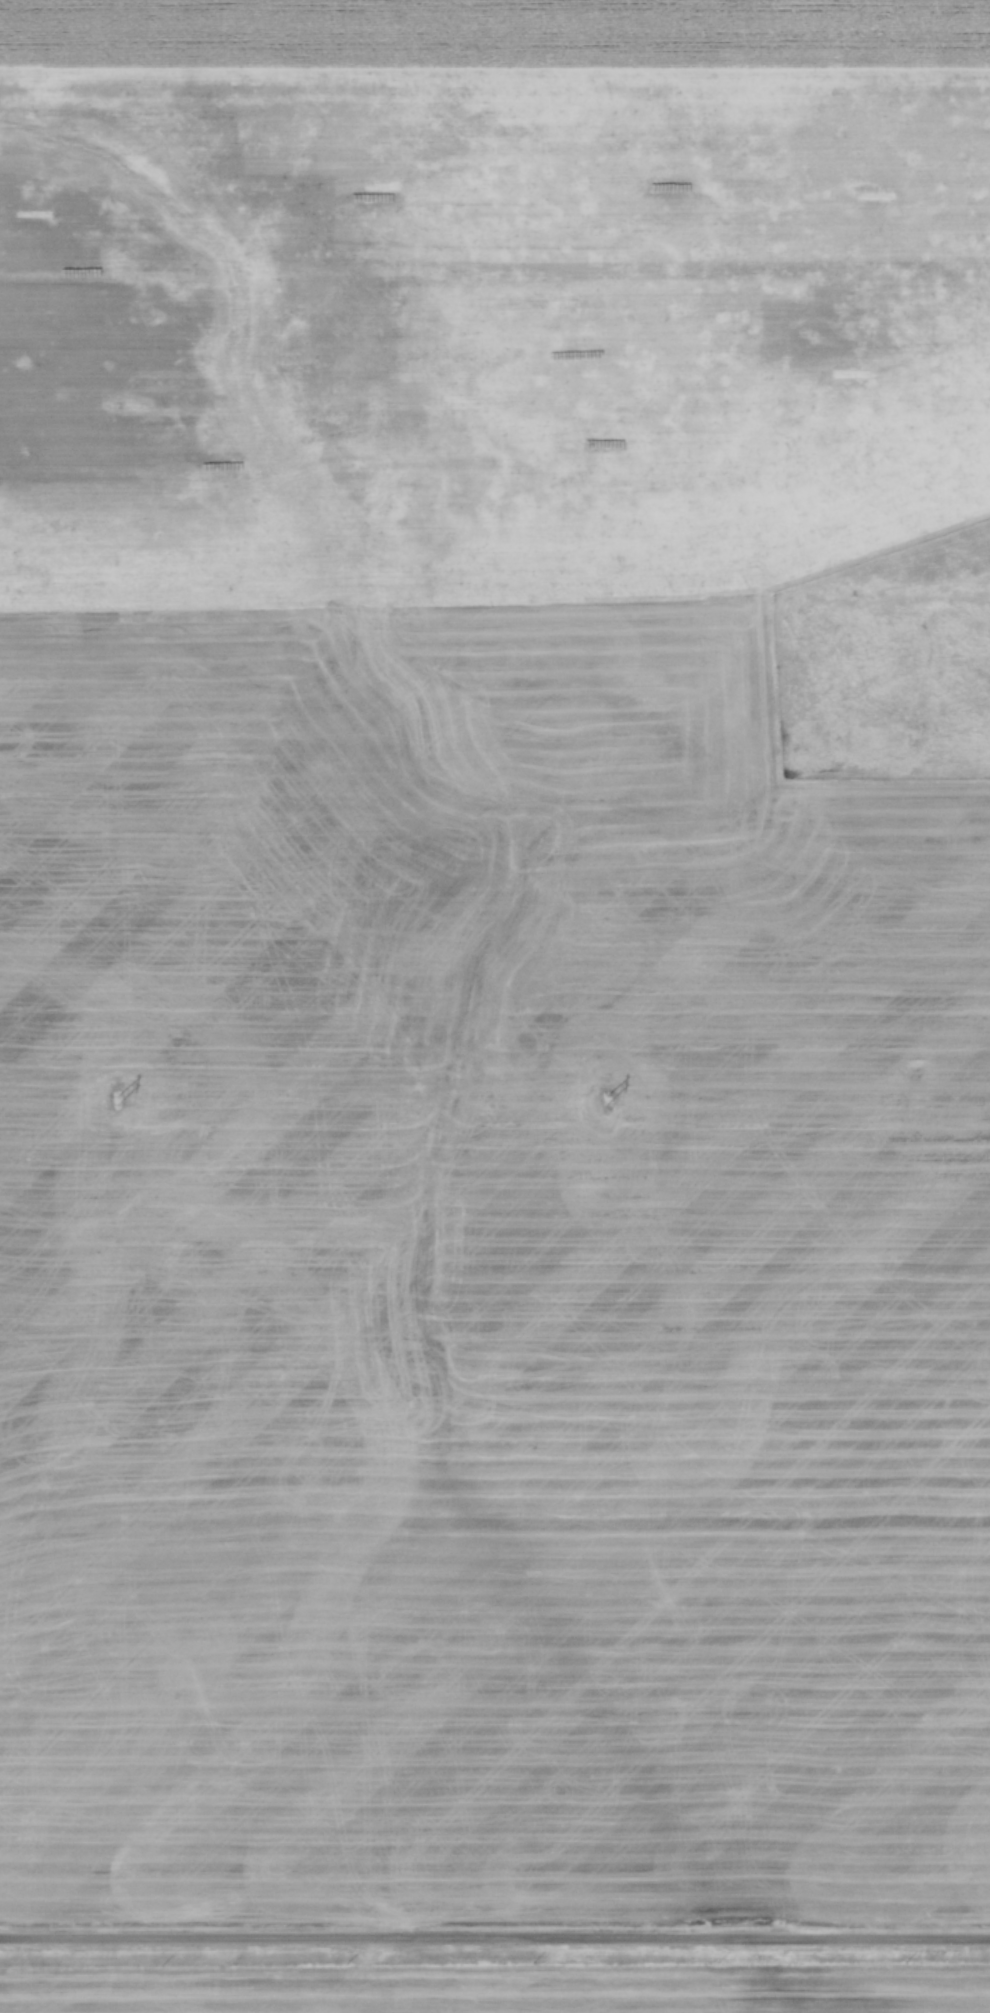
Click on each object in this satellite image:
building: (499, 406)
power tower: (605, 1101)
power tower: (115, 1102)
road: (495, 1938)

